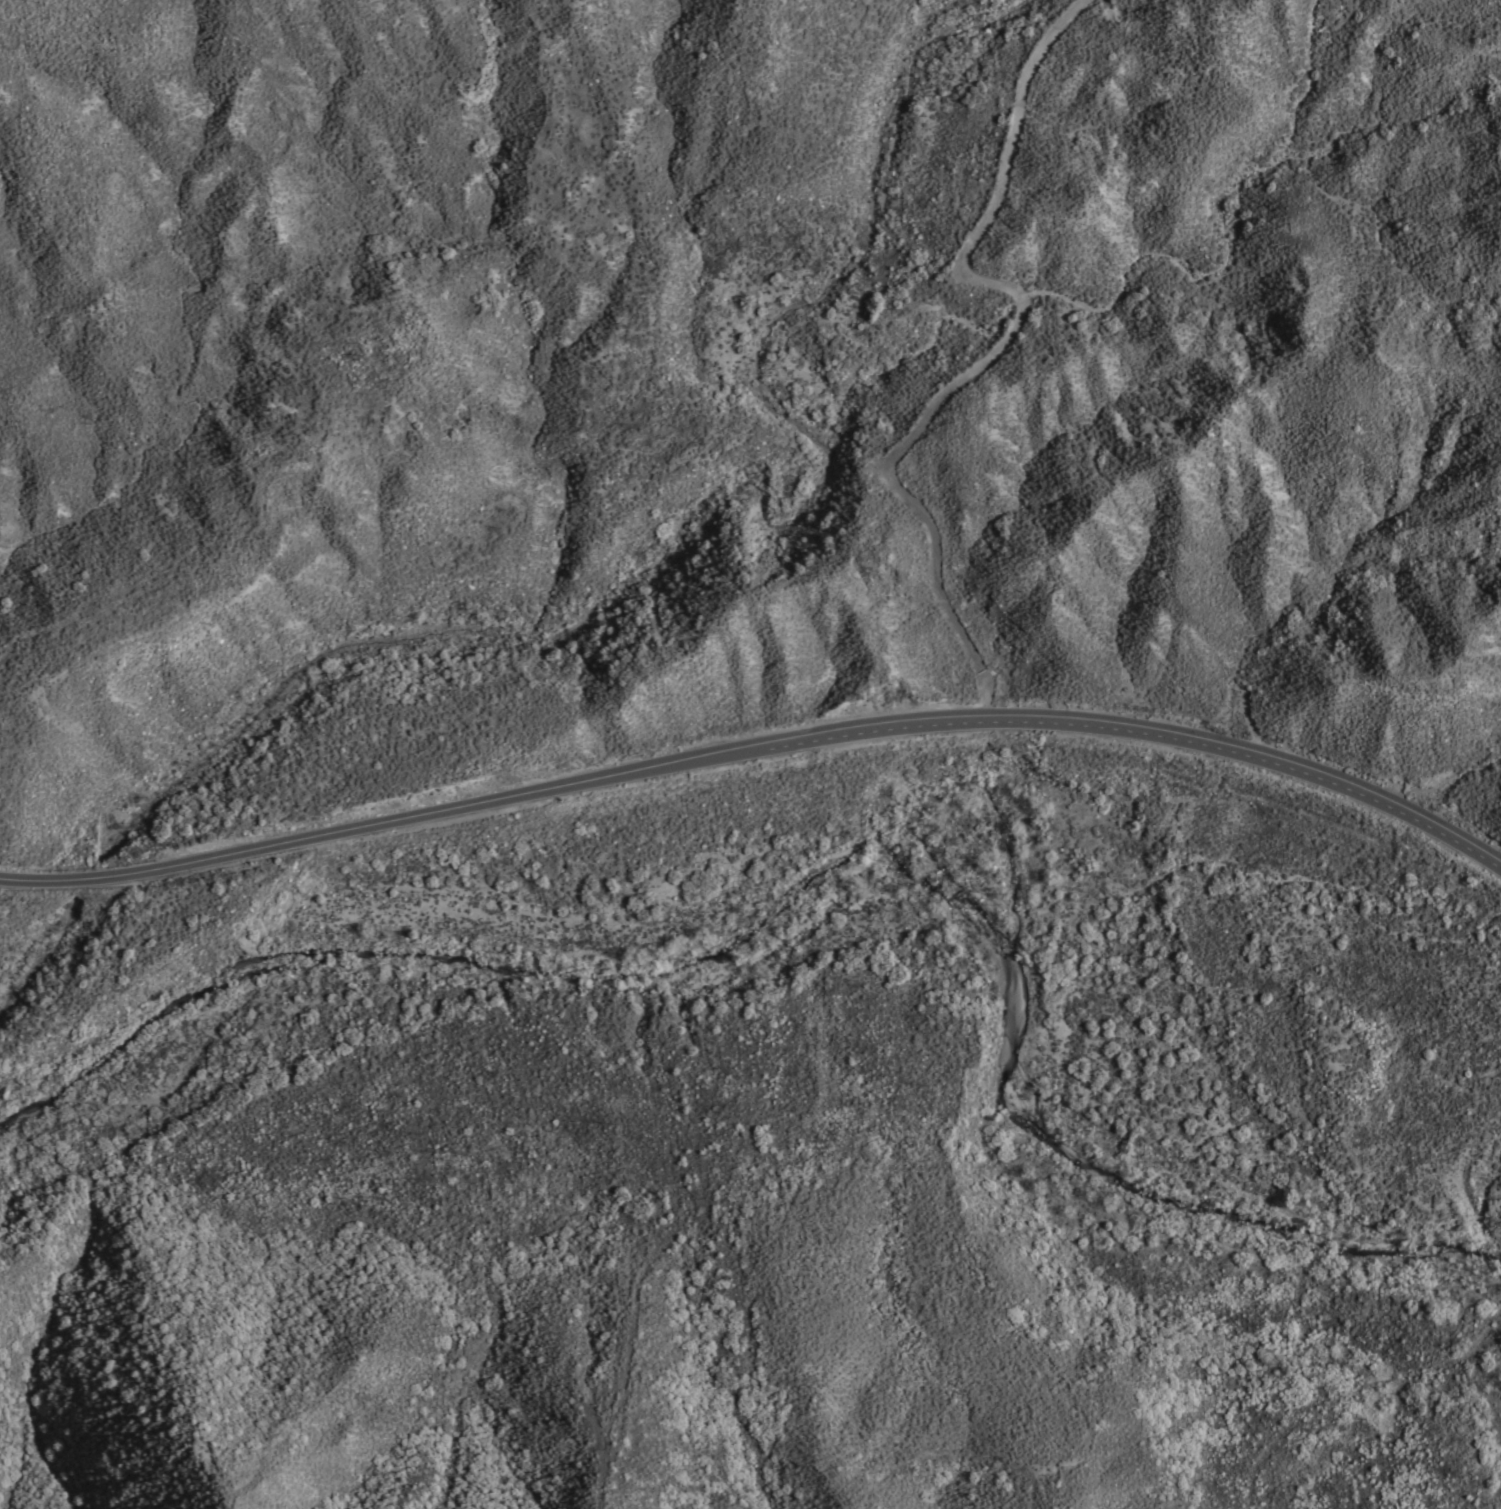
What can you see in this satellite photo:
road: (987, 351)
road: (759, 744)
river: (855, 855)

